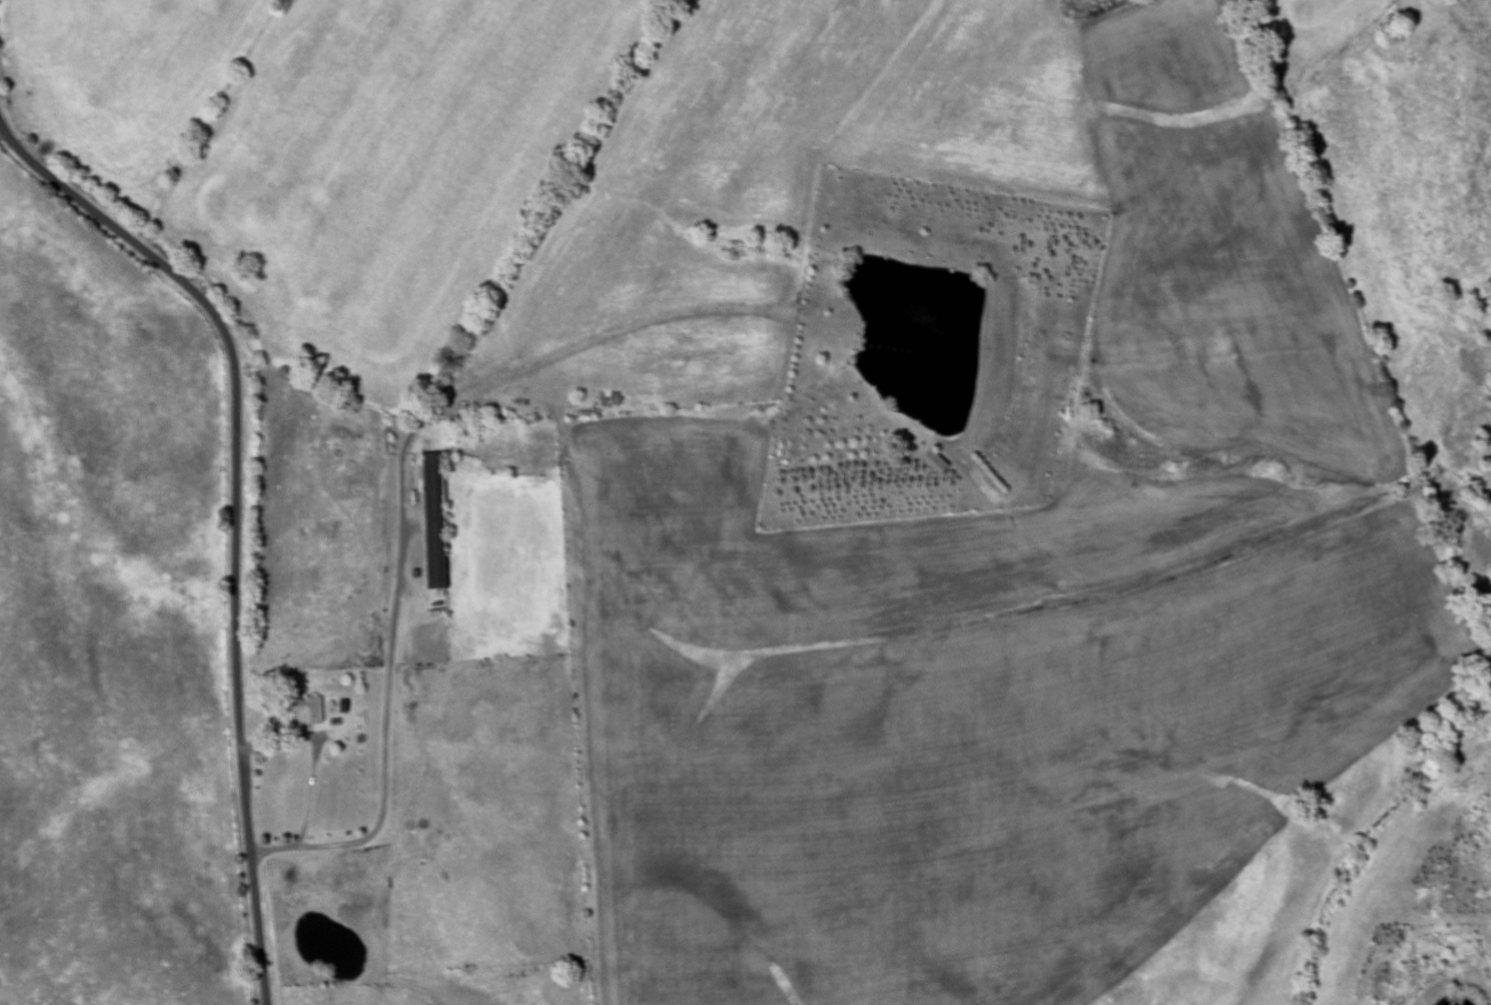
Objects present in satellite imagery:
road: (236, 512)
building: (436, 522)
building: (310, 710)

